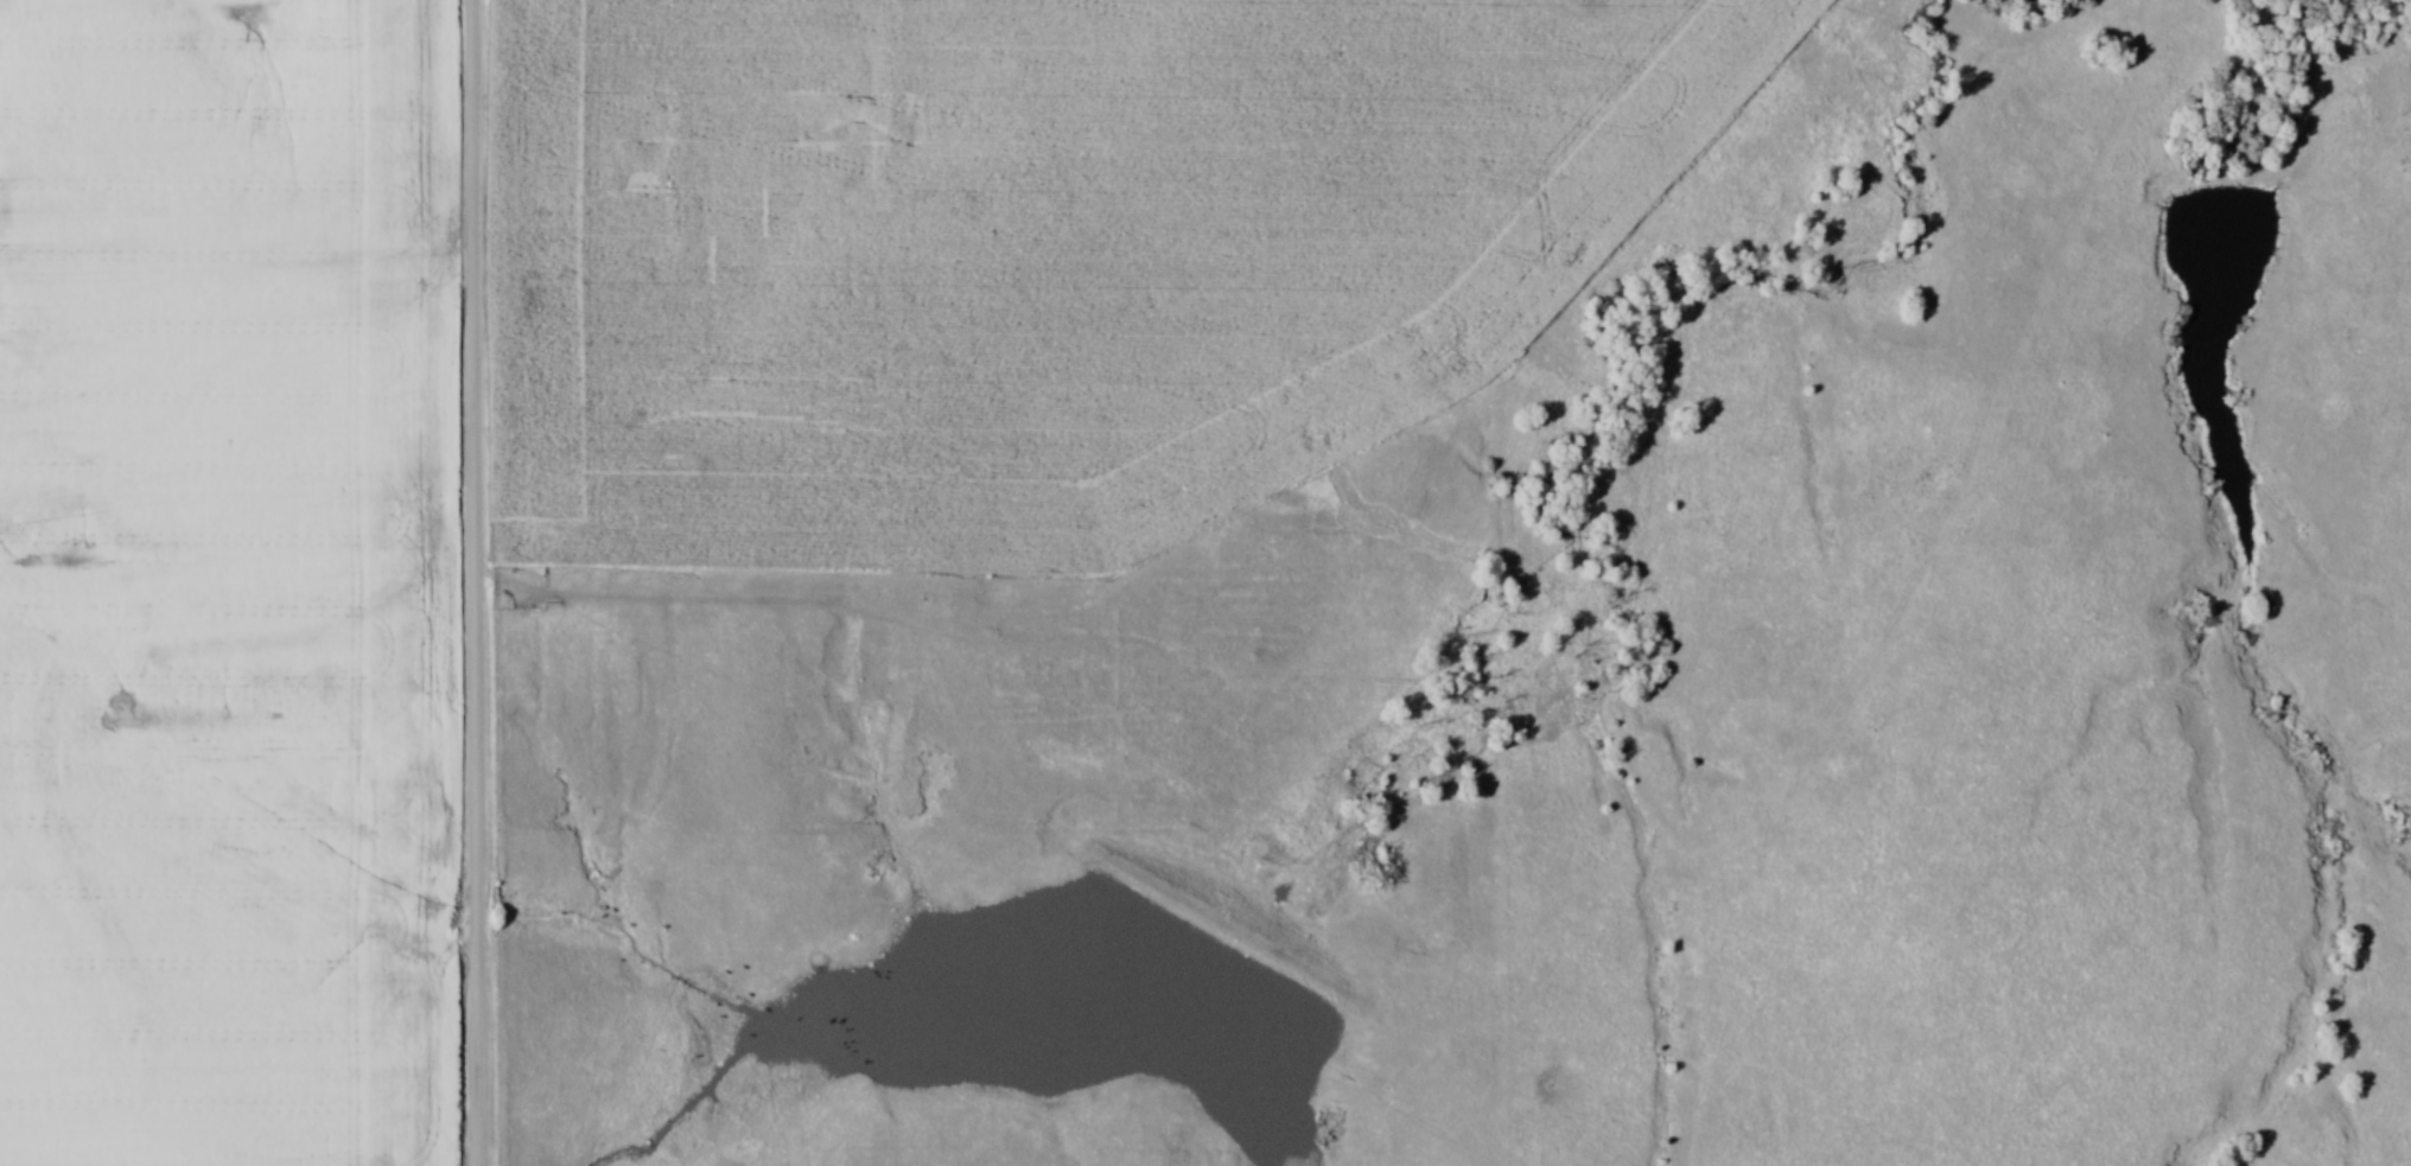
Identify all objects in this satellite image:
road: (336, 308)
road: (471, 582)

